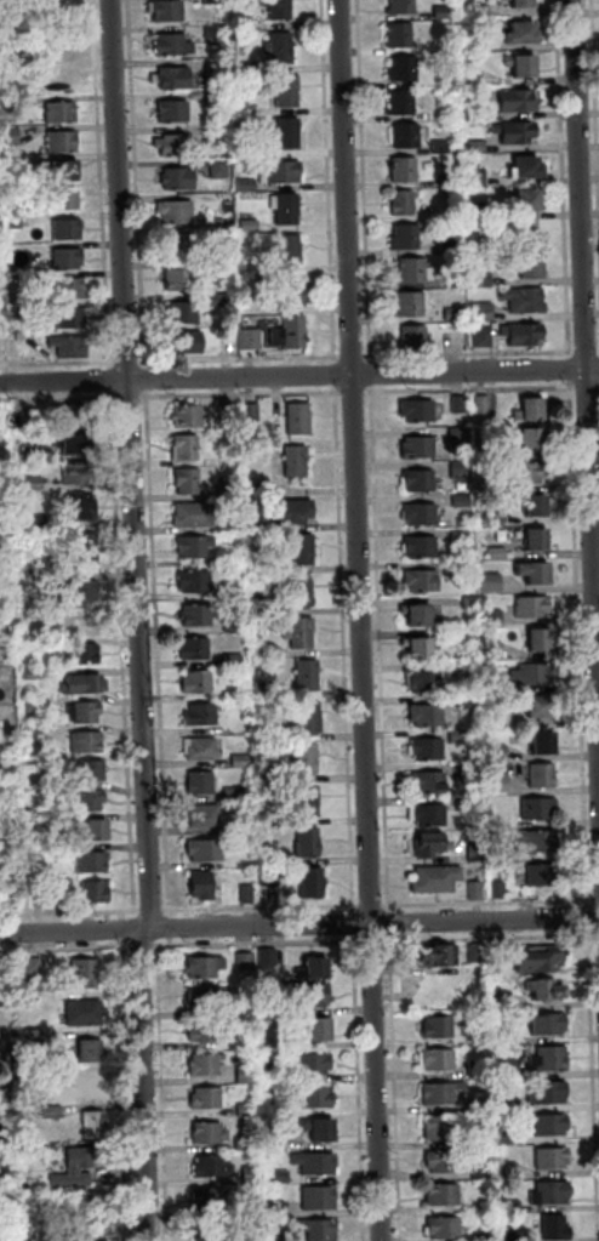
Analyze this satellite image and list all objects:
building: (215, 2)
building: (523, 5)
building: (403, 7)
building: (281, 10)
building: (480, 11)
building: (169, 12)
building: (445, 13)
building: (245, 25)
building: (217, 32)
building: (523, 35)
building: (400, 36)
building: (177, 46)
building: (281, 50)
building: (57, 55)
building: (524, 67)
building: (218, 69)
building: (246, 69)
building: (405, 70)
building: (474, 78)
building: (176, 80)
building: (61, 81)
building: (290, 92)
building: (219, 99)
building: (519, 103)
building: (403, 104)
building: (10, 107)
building: (63, 114)
building: (173, 114)
building: (515, 135)
building: (218, 136)
building: (291, 136)
building: (11, 137)
building: (409, 137)
building: (64, 143)
building: (176, 147)
building: (443, 148)
building: (478, 148)
building: (12, 164)
building: (221, 170)
building: (406, 171)
building: (529, 171)
building: (67, 173)
building: (285, 173)
building: (479, 177)
building: (451, 178)
building: (178, 181)
building: (249, 186)
building: (69, 200)
building: (529, 203)
building: (405, 204)
building: (290, 211)
building: (480, 212)
building: (178, 214)
building: (12, 221)
building: (251, 227)
building: (69, 230)
building: (223, 232)
building: (406, 239)
building: (181, 247)
building: (451, 247)
building: (292, 252)
building: (69, 260)
building: (223, 266)
building: (531, 271)
building: (415, 272)
building: (484, 278)
building: (183, 280)
building: (456, 281)
building: (73, 290)
building: (296, 292)
building: (223, 301)
building: (526, 302)
road: (588, 303)
building: (411, 306)
building: (18, 309)
building: (485, 312)
building: (183, 314)
building: (456, 315)
building: (73, 319)
building: (291, 335)
building: (525, 336)
building: (22, 337)
building: (484, 338)
building: (251, 341)
building: (417, 341)
building: (187, 345)
building: (70, 348)
road: (298, 357)
road: (298, 376)
building: (457, 406)
building: (484, 406)
building: (253, 412)
building: (418, 412)
building: (531, 412)
building: (76, 416)
building: (230, 416)
building: (189, 417)
building: (301, 421)
building: (461, 434)
building: (534, 442)
building: (78, 445)
building: (187, 449)
building: (420, 449)
building: (490, 450)
building: (33, 455)
building: (298, 463)
building: (461, 469)
building: (0, 471)
building: (80, 474)
building: (530, 474)
building: (420, 482)
building: (35, 483)
building: (189, 483)
building: (490, 485)
building: (233, 491)
building: (259, 491)
building: (463, 501)
building: (84, 508)
building: (537, 508)
building: (296, 513)
building: (195, 516)
building: (422, 516)
building: (498, 519)
building: (39, 522)
building: (233, 525)
building: (1, 530)
building: (462, 537)
building: (538, 542)
building: (87, 548)
building: (196, 548)
building: (422, 548)
building: (304, 551)
building: (500, 554)
building: (1, 556)
building: (236, 560)
building: (44, 562)
building: (278, 567)
building: (457, 570)
building: (536, 574)
building: (47, 580)
building: (196, 582)
building: (424, 582)
building: (494, 584)
building: (85, 591)
building: (302, 592)
building: (472, 603)
building: (536, 608)
building: (266, 609)
building: (198, 617)
building: (418, 617)
building: (495, 619)
road: (364, 620)
road: (143, 621)
building: (90, 625)
building: (235, 625)
building: (302, 634)
building: (542, 643)
building: (196, 650)
building: (420, 650)
building: (270, 651)
building: (495, 651)
building: (86, 655)
building: (235, 660)
building: (35, 673)
building: (535, 674)
building: (308, 677)
building: (427, 683)
building: (200, 684)
building: (86, 685)
building: (495, 685)
building: (267, 691)
building: (239, 694)
building: (35, 705)
building: (540, 710)
building: (86, 712)
building: (428, 716)
building: (202, 717)
building: (310, 719)
building: (497, 721)
building: (38, 735)
building: (461, 736)
building: (90, 744)
building: (542, 745)
building: (201, 750)
building: (428, 751)
building: (500, 753)
building: (308, 761)
building: (244, 762)
building: (95, 772)
building: (267, 774)
building: (473, 774)
building: (544, 778)
building: (201, 784)
building: (500, 784)
building: (430, 785)
building: (235, 795)
building: (92, 801)
building: (309, 804)
building: (470, 805)
building: (540, 809)
building: (429, 816)
building: (206, 818)
building: (269, 820)
building: (99, 833)
building: (541, 843)
building: (308, 846)
building: (432, 848)
building: (206, 852)
building: (478, 855)
building: (503, 856)
building: (272, 858)
building: (95, 863)
building: (541, 876)
building: (270, 877)
building: (438, 881)
building: (314, 886)
building: (204, 888)
building: (477, 892)
building: (501, 892)
building: (97, 894)
building: (249, 894)
building: (42, 899)
building: (11, 900)
road: (298, 926)
building: (479, 955)
building: (269, 958)
building: (440, 960)
building: (538, 961)
building: (247, 962)
building: (205, 968)
building: (34, 969)
building: (86, 973)
building: (314, 973)
building: (547, 994)
building: (210, 998)
building: (313, 998)
building: (247, 1006)
building: (272, 1008)
building: (87, 1014)
building: (552, 1026)
building: (440, 1030)
building: (206, 1032)
building: (316, 1032)
building: (508, 1037)
building: (35, 1038)
building: (92, 1054)
building: (2, 1060)
building: (552, 1060)
building: (439, 1061)
building: (316, 1065)
building: (207, 1066)
building: (479, 1069)
building: (510, 1069)
building: (276, 1075)
building: (249, 1076)
building: (444, 1094)
building: (553, 1094)
building: (6, 1095)
building: (207, 1100)
building: (318, 1100)
building: (510, 1103)
building: (483, 1106)
building: (247, 1110)
building: (55, 1112)
building: (97, 1127)
building: (550, 1127)
building: (443, 1129)
building: (320, 1133)
building: (6, 1135)
building: (211, 1135)
building: (510, 1135)
building: (243, 1145)
building: (553, 1160)
building: (444, 1163)
building: (316, 1166)
building: (212, 1168)
building: (78, 1169)
building: (484, 1171)
building: (510, 1171)
building: (5, 1175)
building: (255, 1175)
building: (281, 1177)
building: (553, 1196)
building: (50, 1197)
building: (445, 1197)
building: (320, 1200)
building: (211, 1201)
building: (515, 1206)
building: (96, 1207)
building: (255, 1211)
building: (278, 1211)
building: (445, 1229)
building: (557, 1229)
building: (321, 1230)
building: (101, 1234)
building: (211, 1234)
building: (518, 1234)
building: (256, 1236)
building: (486, 1237)
building: (279, 1239)

